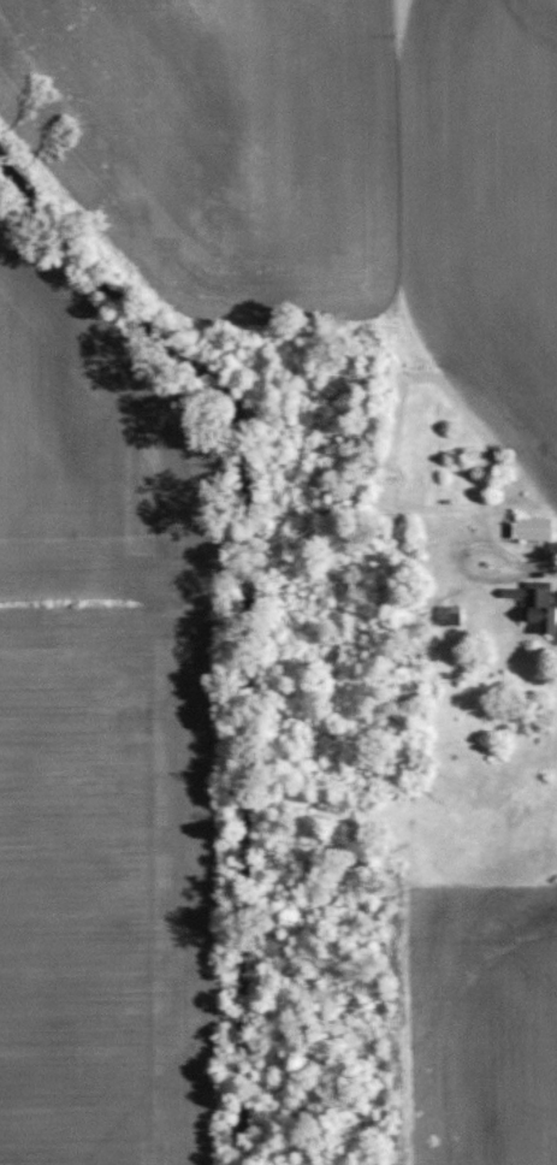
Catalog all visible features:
building: (529, 527)
building: (534, 604)

